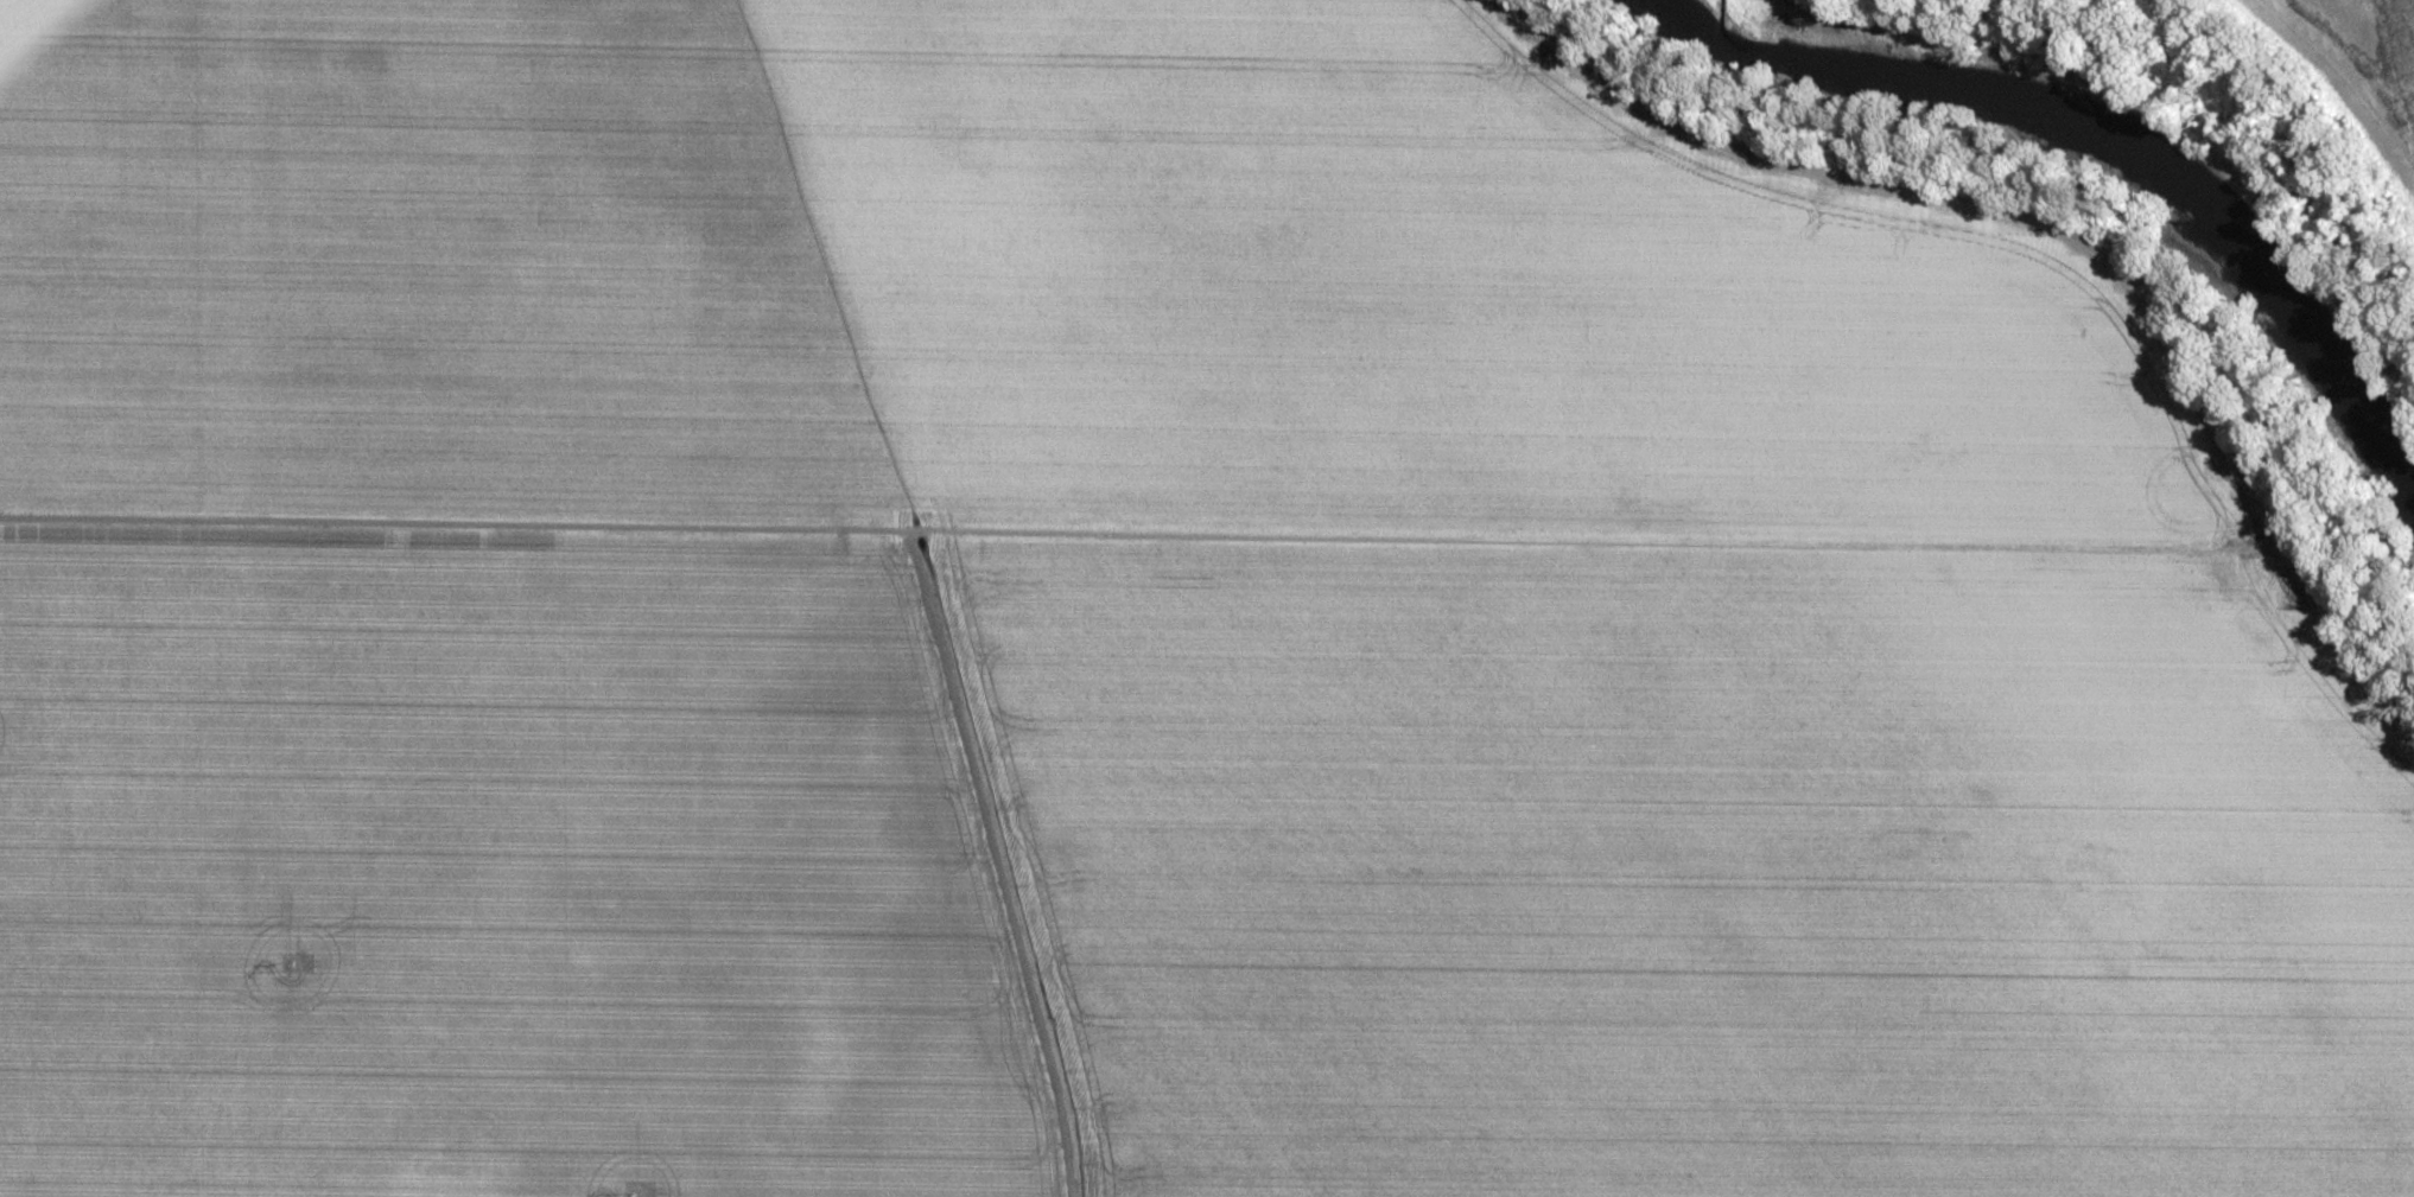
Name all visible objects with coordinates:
power tower: (288, 964)
power tower: (633, 1193)

